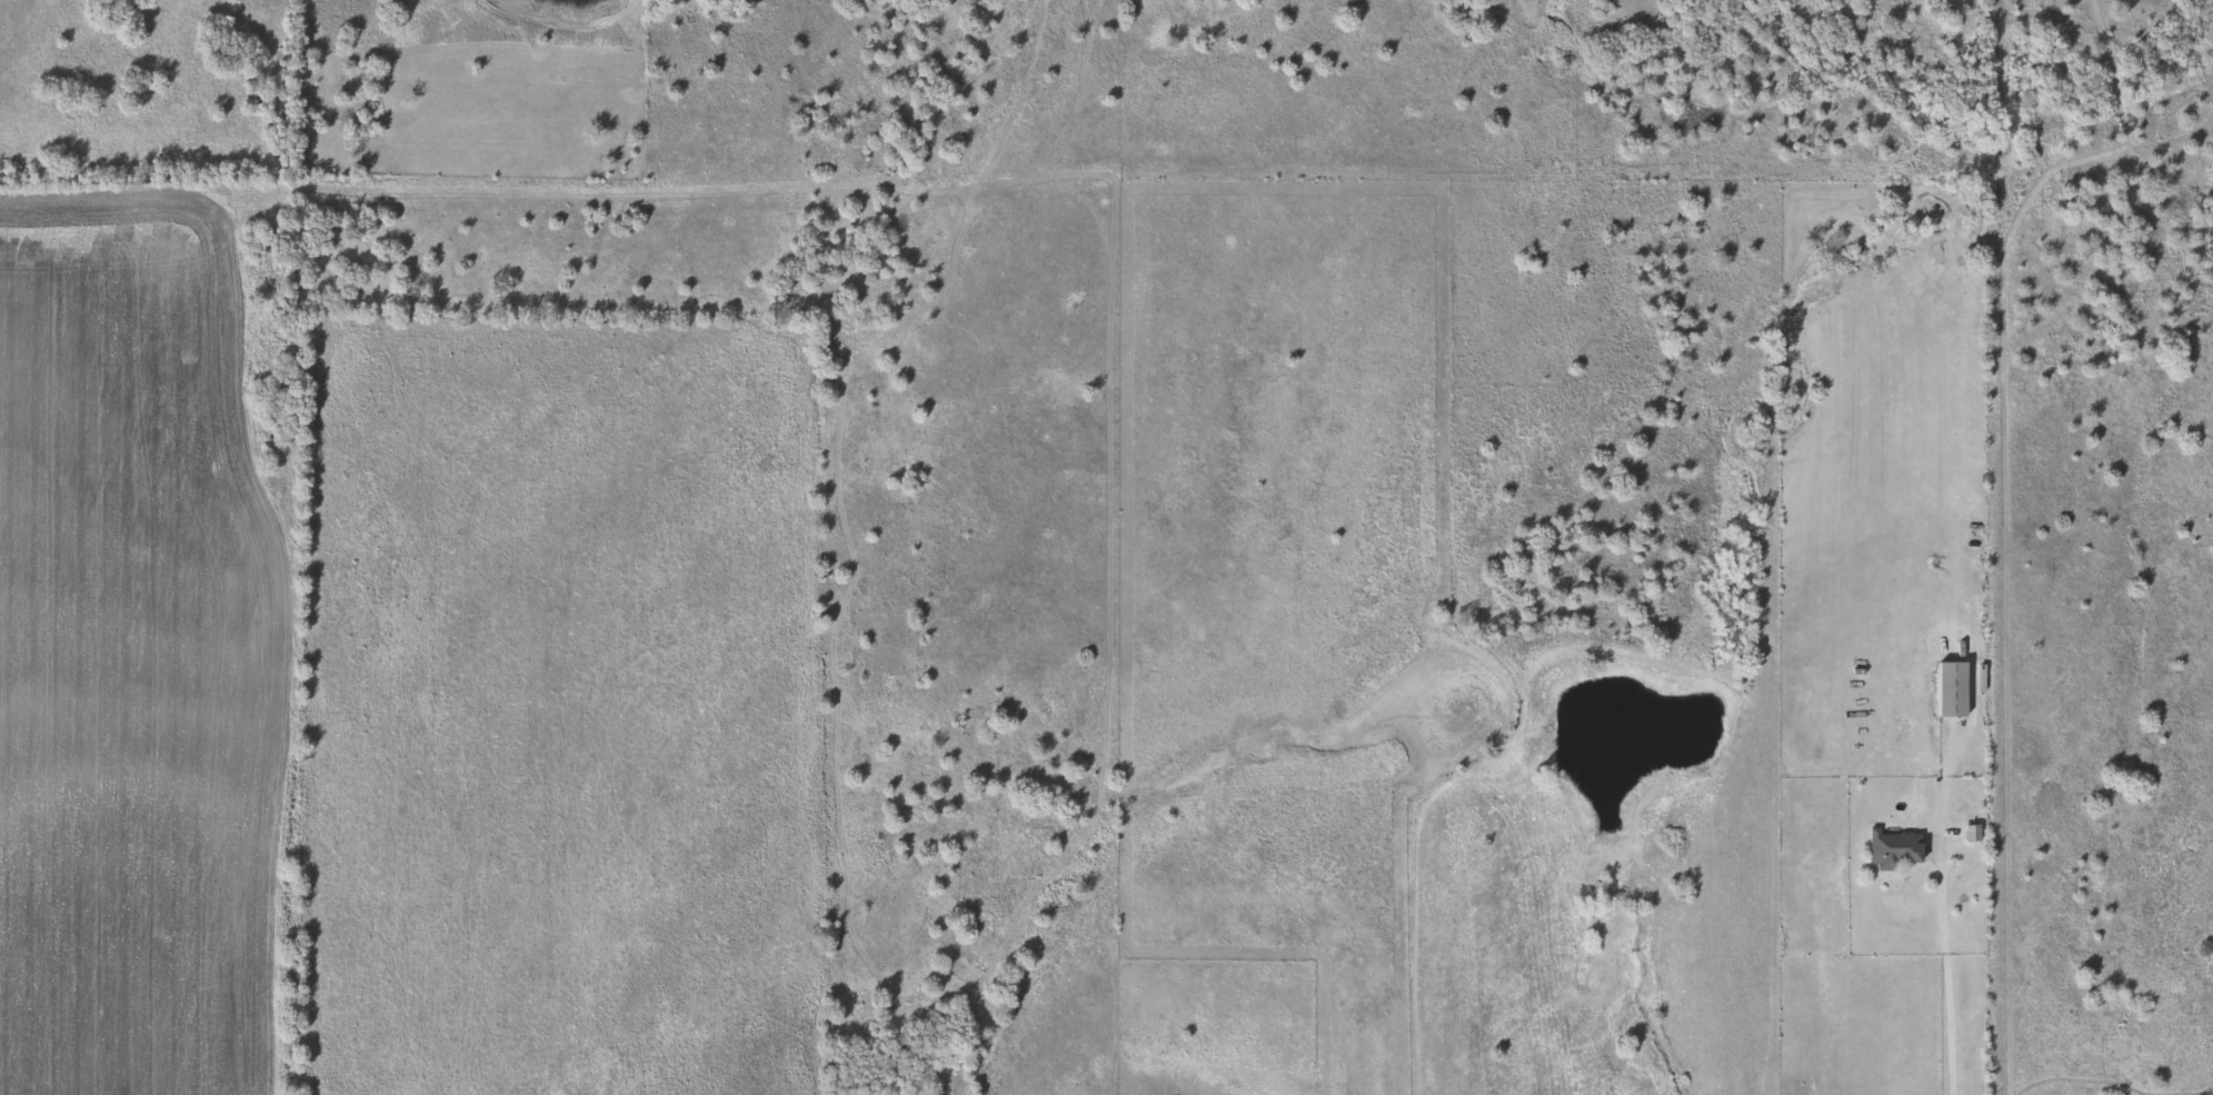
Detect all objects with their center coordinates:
building: (1954, 687)
building: (1895, 846)
road: (1952, 974)

